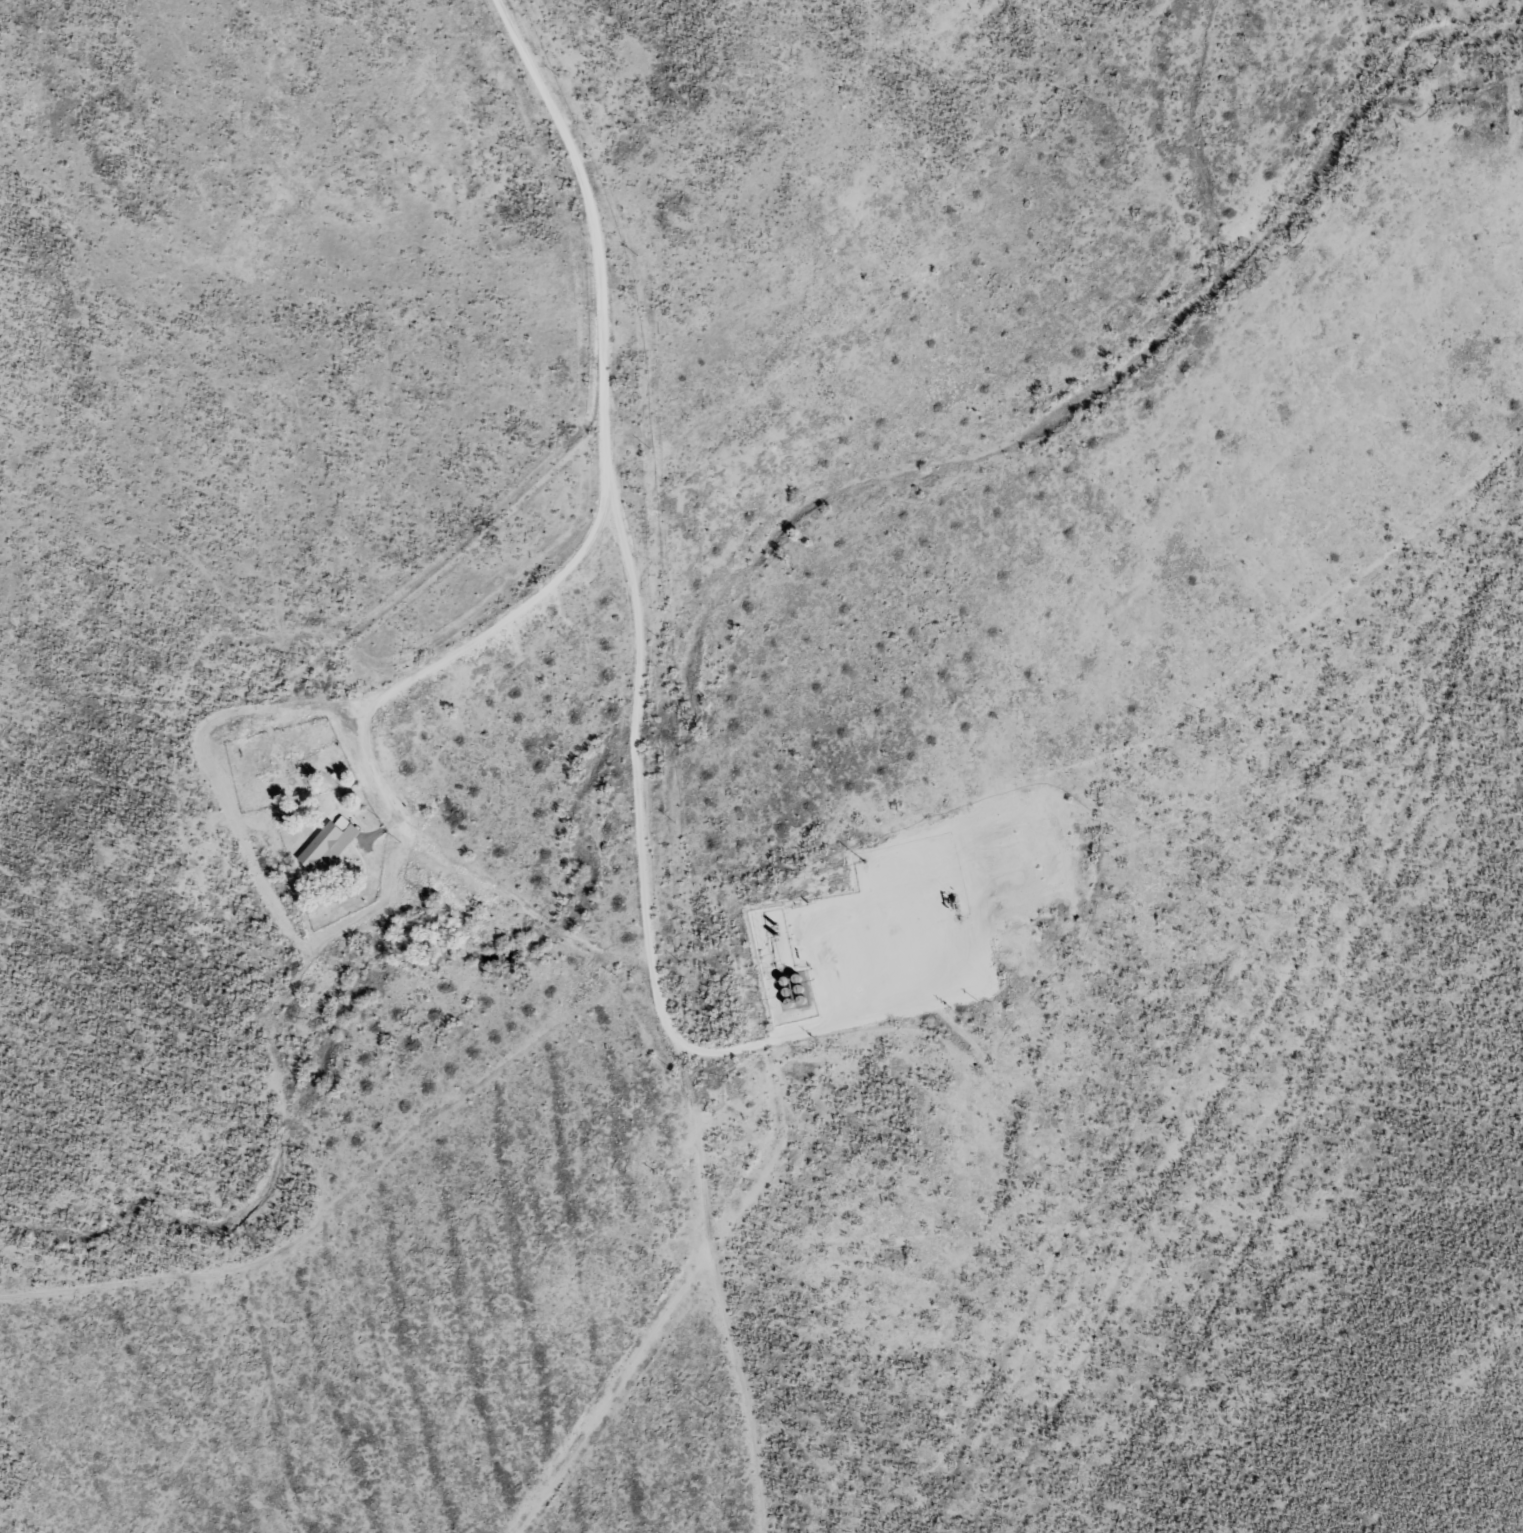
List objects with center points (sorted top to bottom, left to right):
road: (596, 243)
road: (428, 654)
road: (647, 748)

